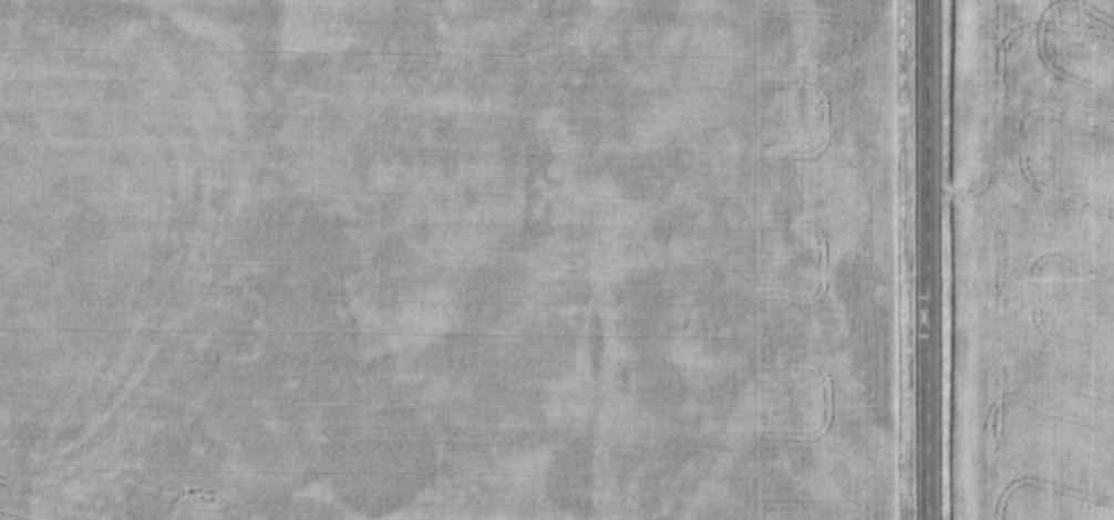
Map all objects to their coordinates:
road: (928, 260)

